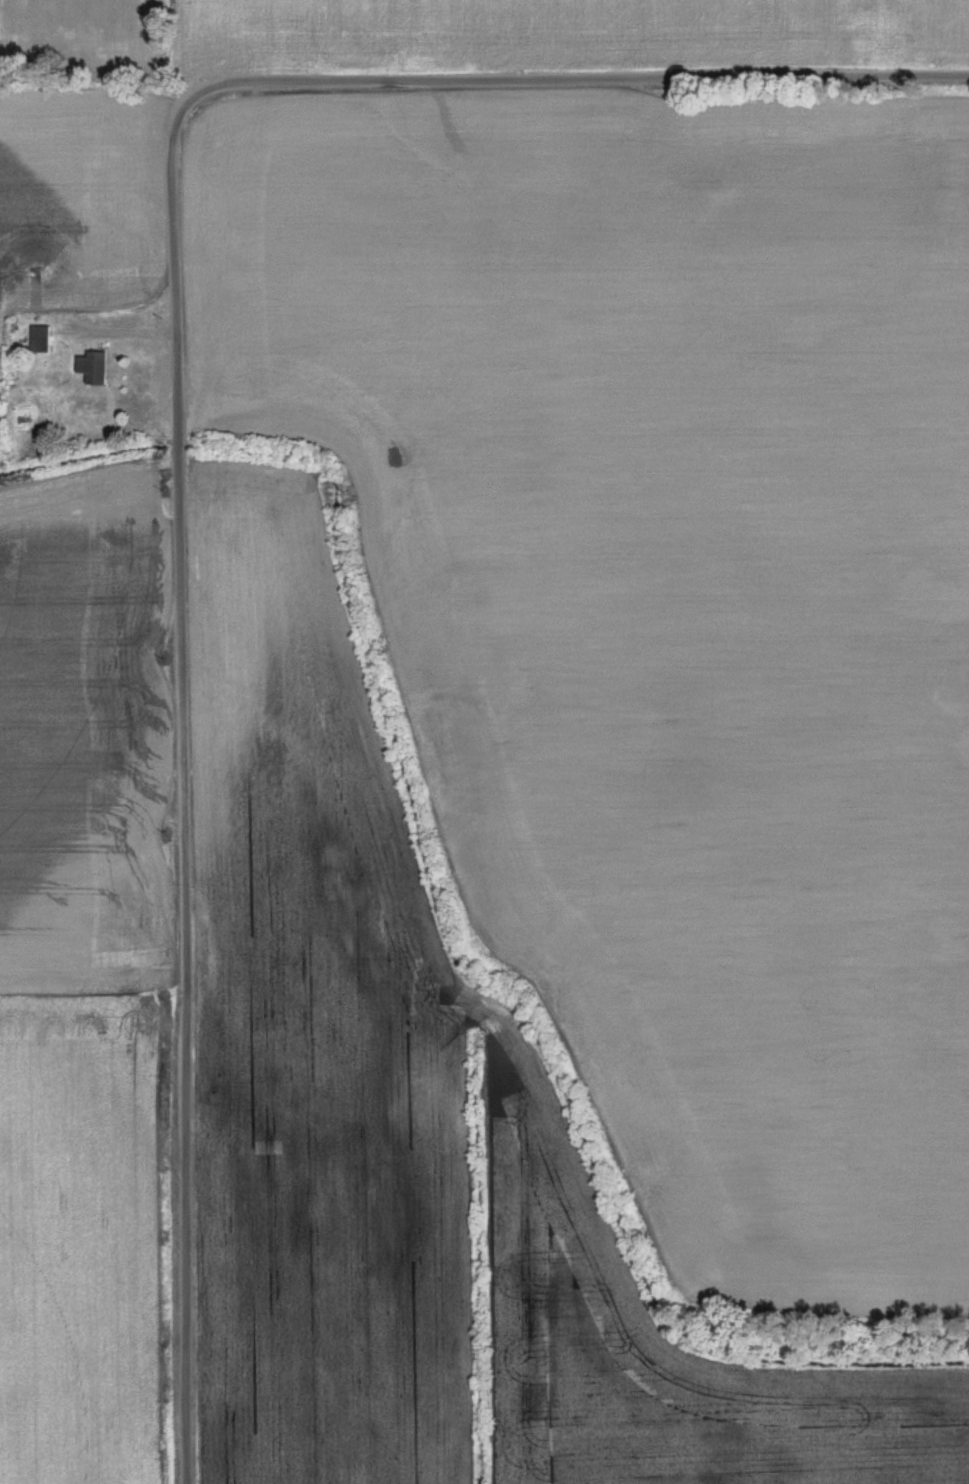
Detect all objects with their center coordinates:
crop: (560, 30)
crop: (101, 37)
road: (572, 76)
crop: (75, 210)
building: (42, 339)
building: (95, 368)
crop: (662, 603)
road: (181, 785)
crop: (83, 975)
crop: (415, 1121)

